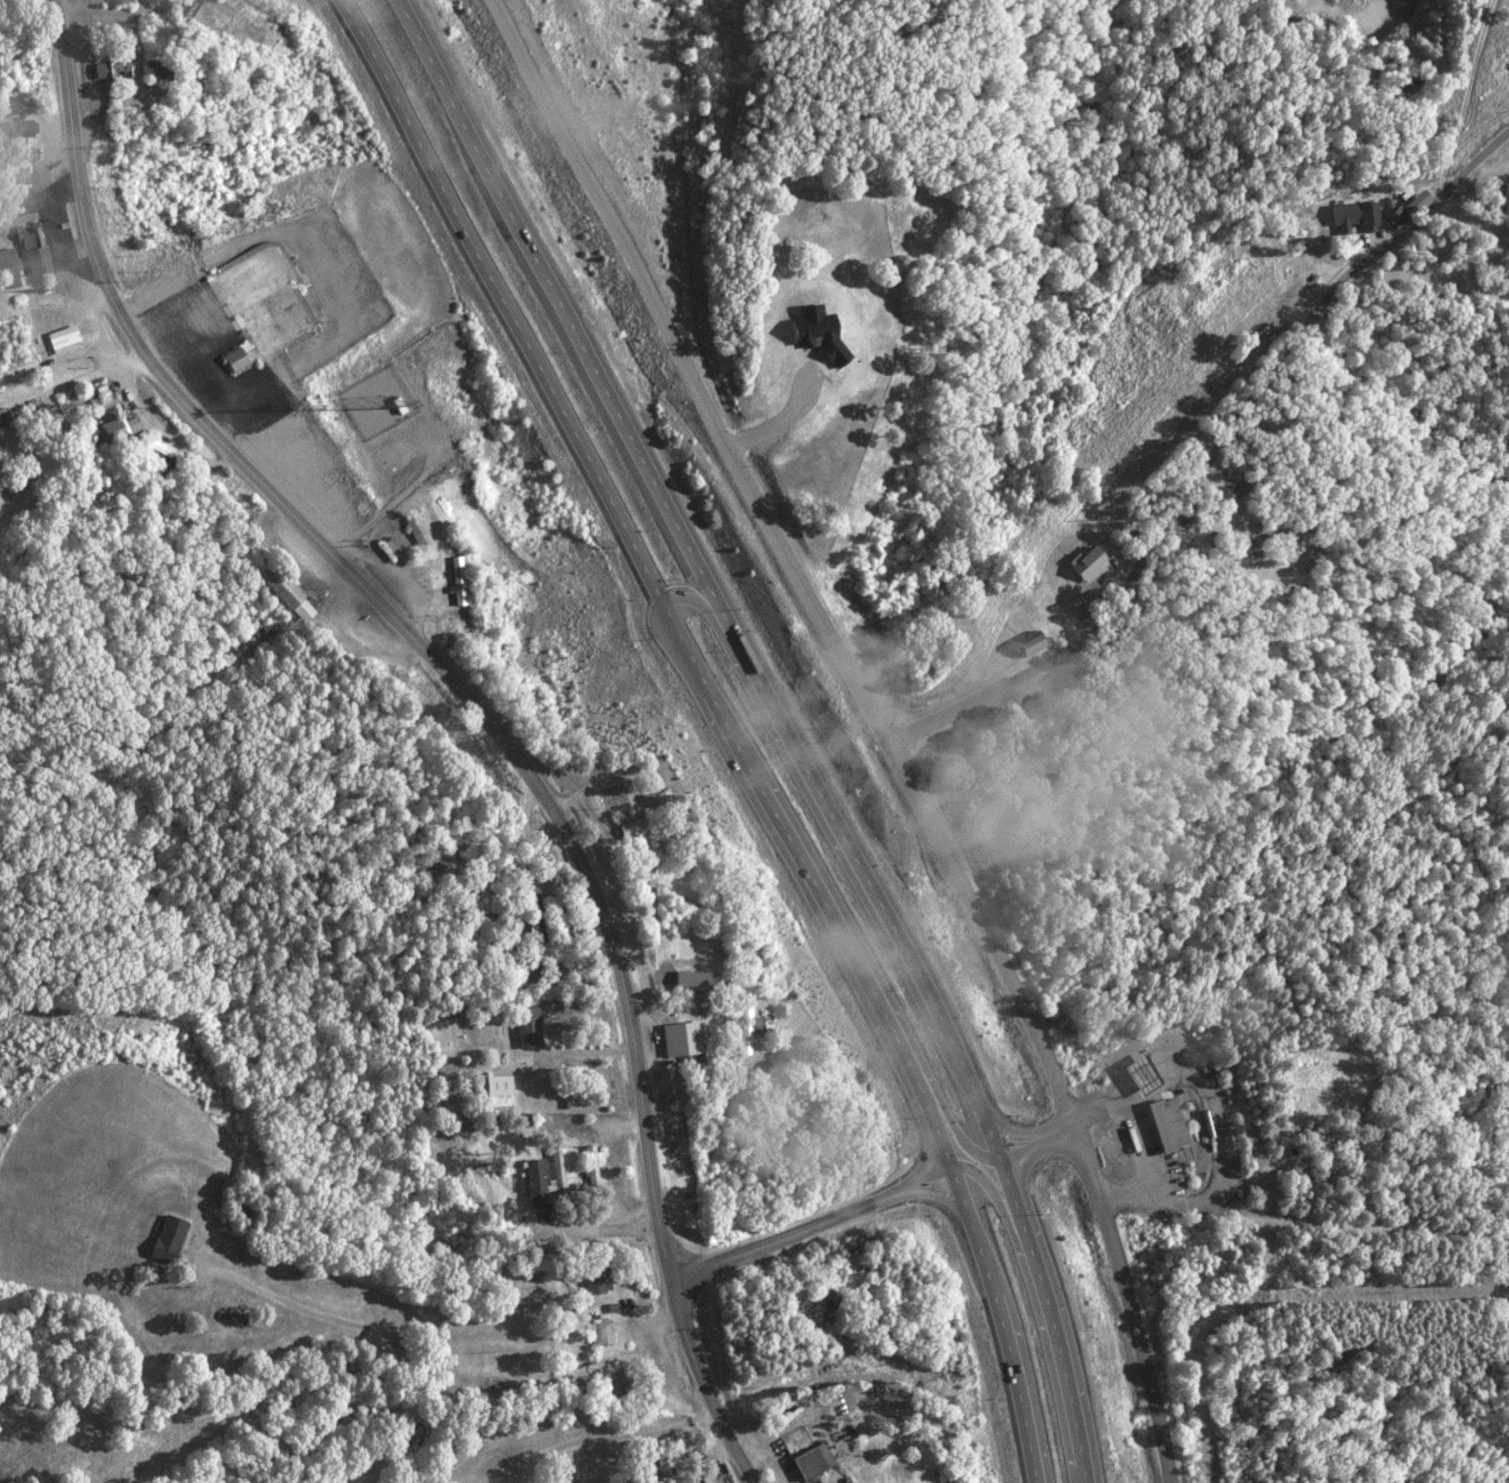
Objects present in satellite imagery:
building: (109, 71)
building: (155, 71)
building: (20, 128)
building: (1412, 202)
building: (21, 206)
building: (1350, 217)
building: (1392, 219)
building: (34, 246)
building: (9, 267)
road: (502, 298)
road: (556, 298)
building: (62, 339)
building: (233, 359)
road: (690, 367)
road: (67, 382)
building: (104, 402)
building: (118, 428)
building: (155, 446)
road: (1214, 461)
building: (1085, 562)
building: (457, 579)
road: (690, 589)
building: (286, 594)
building: (1028, 644)
road: (711, 685)
road: (469, 700)
road: (834, 807)
building: (634, 835)
road: (842, 925)
building: (689, 980)
building: (525, 1026)
building: (745, 1028)
building: (767, 1030)
building: (679, 1038)
building: (1137, 1074)
road: (970, 1085)
building: (496, 1087)
road: (1062, 1096)
road: (936, 1101)
road: (986, 1107)
road: (935, 1120)
road: (1009, 1123)
building: (1166, 1124)
road: (1051, 1129)
road: (1026, 1132)
road: (1028, 1138)
road: (972, 1139)
road: (1010, 1145)
building: (589, 1163)
road: (976, 1164)
road: (937, 1165)
road: (914, 1175)
building: (540, 1179)
road: (915, 1181)
road: (936, 1185)
road: (956, 1191)
road: (1012, 1191)
road: (1010, 1209)
road: (1305, 1220)
road: (594, 1227)
road: (787, 1228)
road: (975, 1228)
building: (166, 1239)
building: (593, 1279)
road: (380, 1330)
road: (1060, 1343)
road: (1021, 1389)
road: (595, 1437)
building: (809, 1461)
road: (1085, 1469)
building: (705, 1481)
building: (669, 1482)

